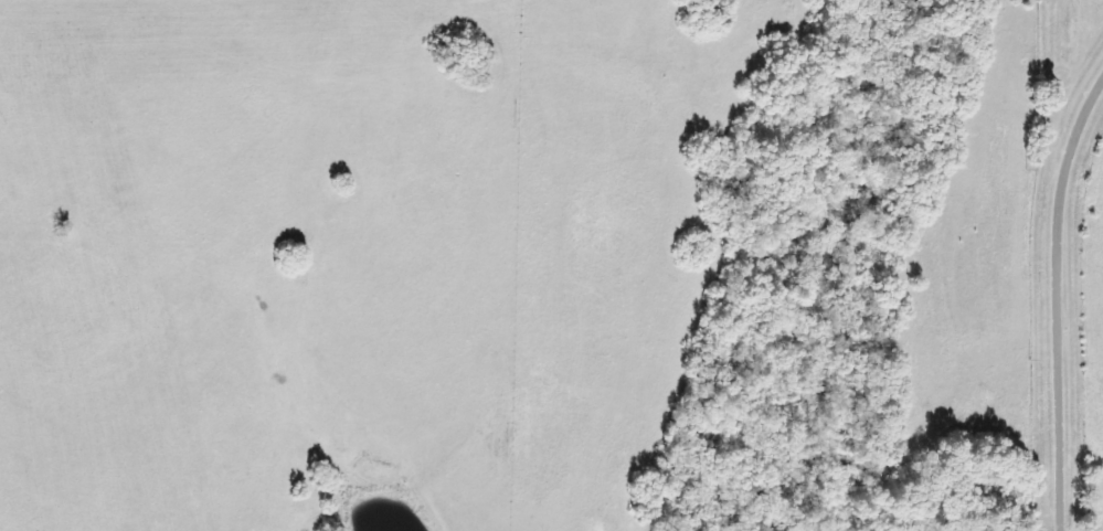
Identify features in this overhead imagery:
road: (1062, 308)

